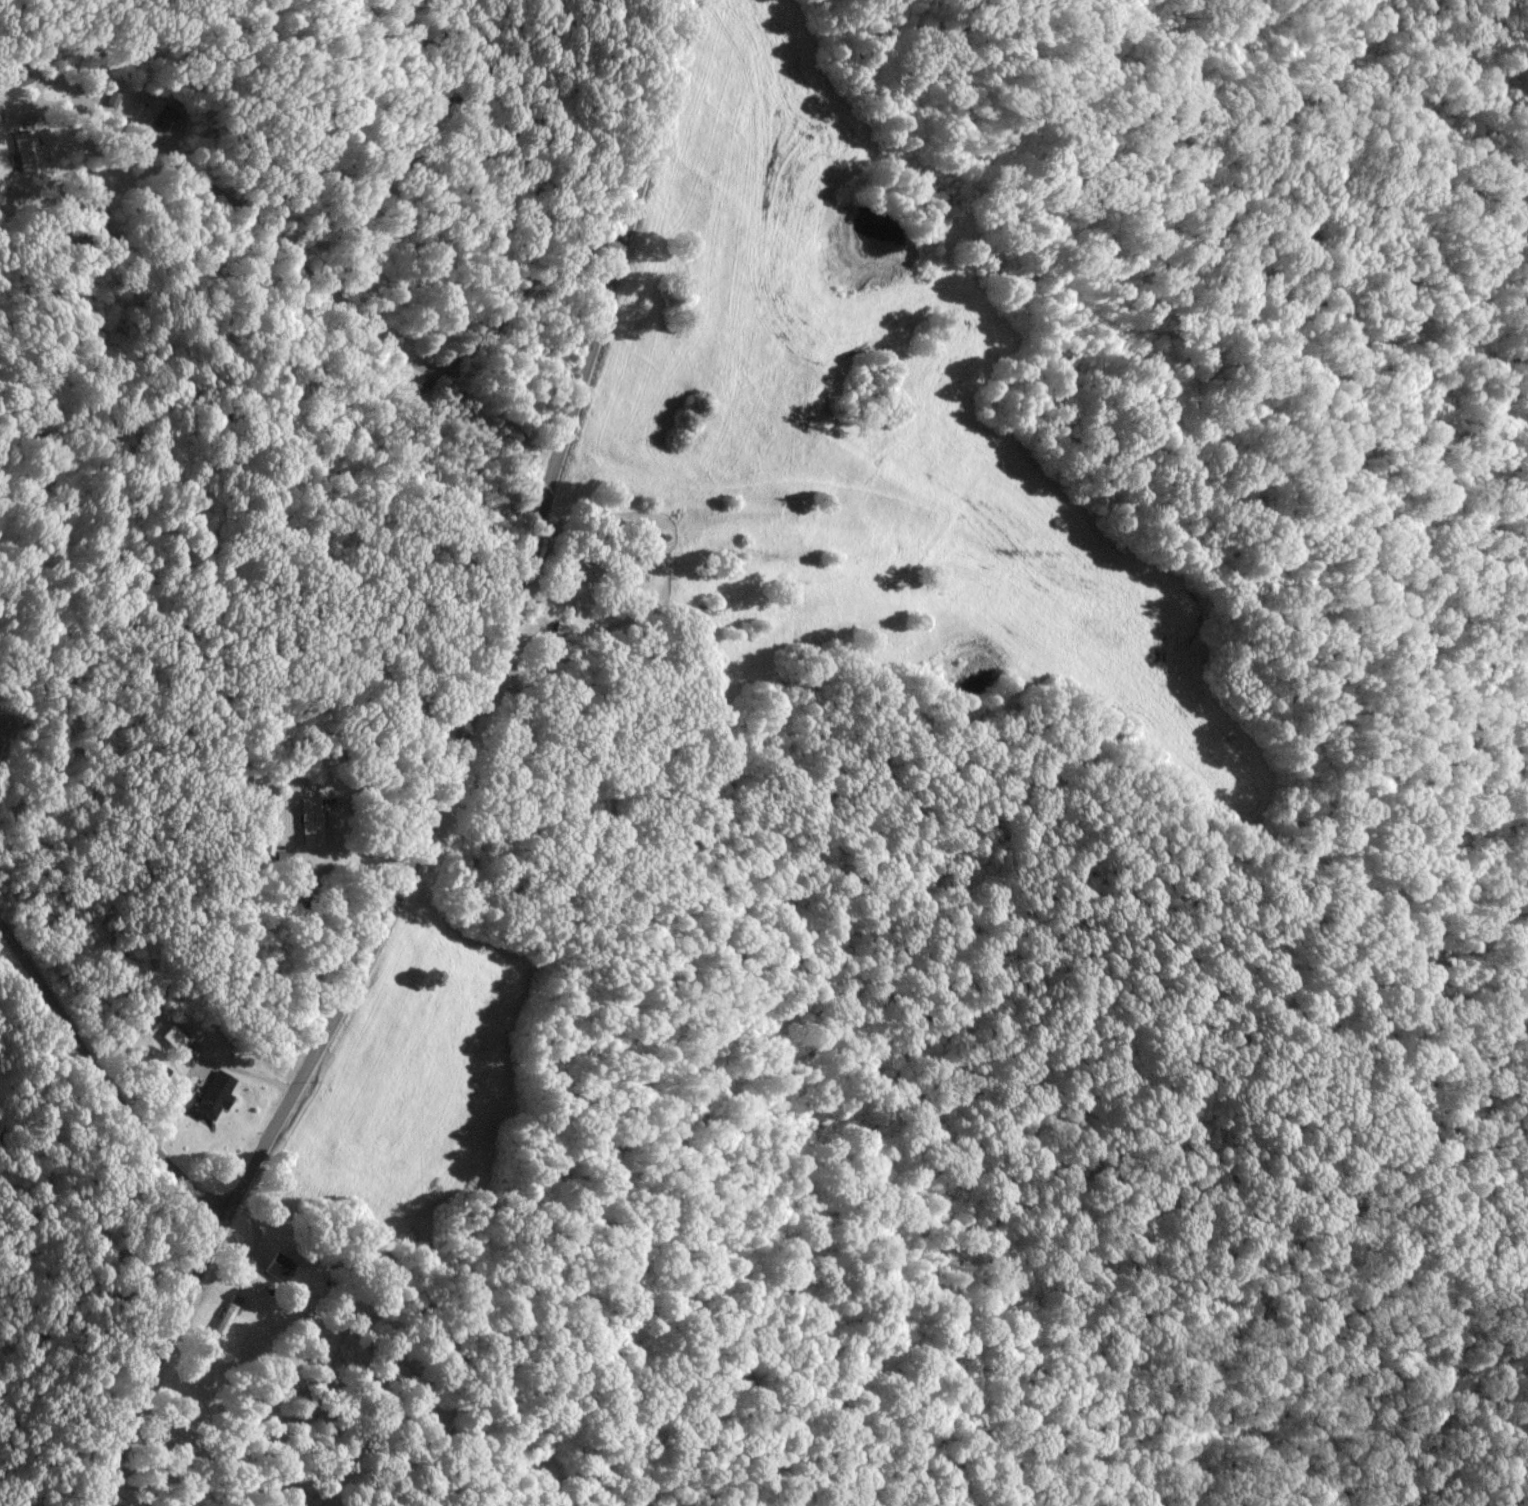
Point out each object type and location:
building: (153, 118)
building: (26, 149)
building: (588, 570)
road: (445, 773)
building: (311, 821)
road: (100, 1078)
building: (216, 1093)
building: (279, 1265)
building: (227, 1314)

